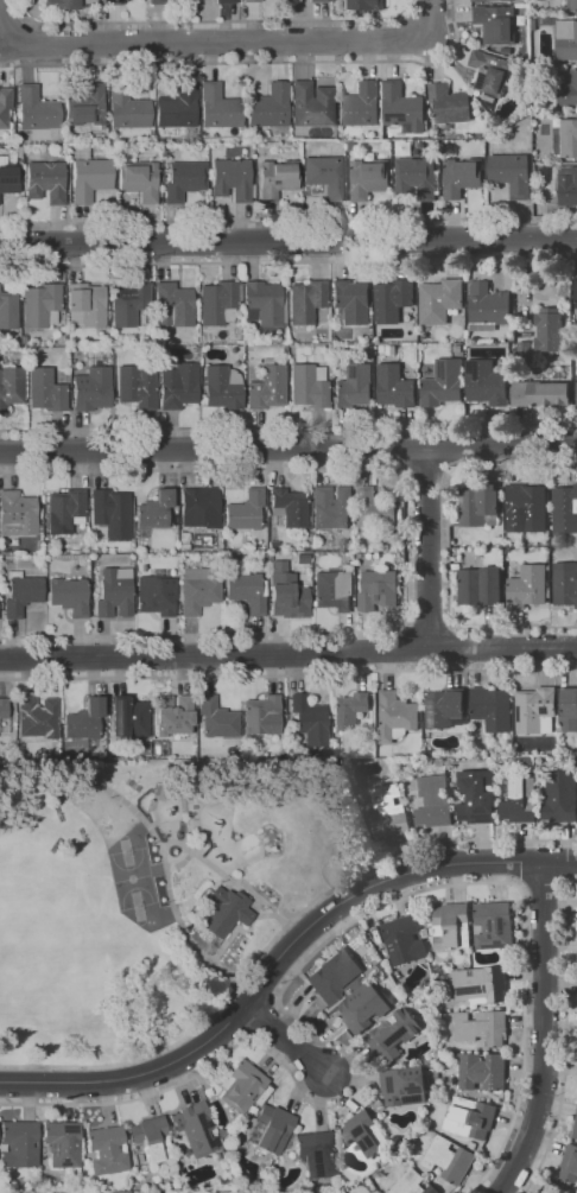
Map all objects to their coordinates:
building: (100, 0)
building: (481, 0)
building: (226, 1)
building: (253, 1)
building: (319, 1)
building: (114, 2)
building: (159, 2)
building: (63, 5)
building: (367, 5)
building: (573, 5)
building: (497, 23)
building: (534, 24)
road: (216, 25)
building: (563, 36)
road: (224, 39)
building: (503, 50)
road: (249, 58)
building: (493, 75)
building: (569, 93)
building: (450, 103)
building: (312, 104)
building: (361, 104)
building: (5, 106)
building: (87, 107)
building: (178, 107)
building: (220, 107)
building: (270, 107)
building: (404, 107)
building: (128, 108)
building: (37, 109)
building: (569, 138)
building: (350, 144)
building: (435, 145)
building: (78, 151)
building: (18, 152)
building: (27, 152)
building: (325, 173)
building: (512, 173)
building: (8, 176)
building: (462, 176)
building: (417, 177)
building: (277, 178)
building: (370, 178)
building: (90, 179)
building: (140, 179)
building: (232, 179)
building: (184, 180)
building: (46, 182)
building: (569, 186)
road: (288, 220)
road: (288, 241)
road: (288, 259)
building: (576, 287)
building: (393, 299)
building: (440, 299)
building: (131, 300)
building: (306, 300)
building: (351, 302)
building: (220, 303)
building: (264, 303)
building: (87, 304)
building: (43, 305)
building: (175, 305)
building: (488, 306)
building: (8, 310)
building: (62, 323)
building: (550, 330)
building: (285, 337)
building: (509, 337)
building: (201, 340)
building: (275, 340)
building: (569, 340)
building: (196, 341)
building: (160, 348)
building: (458, 348)
building: (198, 349)
building: (303, 350)
building: (392, 350)
building: (370, 351)
building: (525, 351)
building: (556, 358)
building: (487, 382)
building: (444, 383)
building: (12, 386)
building: (179, 386)
building: (309, 386)
building: (355, 386)
building: (395, 386)
building: (137, 387)
building: (223, 387)
building: (268, 387)
building: (576, 388)
building: (93, 389)
building: (46, 391)
building: (541, 393)
road: (288, 426)
road: (288, 448)
road: (427, 470)
building: (528, 503)
building: (480, 505)
building: (201, 508)
building: (290, 508)
building: (332, 508)
building: (565, 509)
building: (66, 510)
building: (246, 510)
building: (110, 512)
building: (375, 512)
building: (156, 513)
building: (18, 514)
building: (40, 527)
building: (271, 533)
building: (247, 535)
building: (559, 538)
building: (497, 540)
building: (185, 542)
building: (259, 545)
building: (274, 545)
road: (449, 545)
building: (49, 547)
building: (387, 547)
road: (407, 547)
road: (429, 547)
building: (350, 553)
building: (227, 554)
building: (315, 556)
building: (144, 559)
building: (157, 559)
building: (144, 572)
building: (271, 578)
building: (565, 583)
building: (481, 585)
building: (528, 586)
building: (378, 588)
building: (247, 589)
building: (335, 589)
building: (198, 590)
building: (21, 594)
building: (114, 595)
building: (70, 596)
building: (156, 596)
building: (288, 596)
road: (430, 623)
road: (288, 655)
road: (288, 675)
building: (570, 703)
building: (493, 707)
building: (445, 709)
building: (537, 710)
building: (350, 711)
building: (309, 715)
building: (262, 716)
building: (397, 716)
building: (4, 717)
building: (129, 717)
building: (175, 717)
building: (37, 718)
building: (217, 719)
building: (85, 722)
building: (291, 745)
building: (429, 753)
building: (439, 761)
building: (477, 795)
building: (560, 797)
building: (520, 800)
building: (432, 802)
building: (388, 812)
road: (165, 842)
park: (138, 878)
road: (544, 886)
road: (242, 889)
park: (156, 890)
building: (228, 912)
building: (494, 925)
building: (451, 926)
road: (240, 928)
road: (277, 937)
building: (405, 940)
road: (279, 958)
road: (298, 971)
building: (334, 975)
building: (481, 984)
building: (363, 1008)
building: (482, 1027)
road: (545, 1032)
building: (394, 1034)
road: (566, 1037)
road: (285, 1040)
building: (483, 1071)
building: (405, 1084)
building: (242, 1086)
building: (380, 1102)
building: (252, 1110)
building: (471, 1118)
building: (273, 1128)
building: (198, 1129)
building: (576, 1131)
building: (364, 1134)
building: (153, 1138)
building: (20, 1144)
building: (63, 1144)
building: (473, 1144)
building: (108, 1150)
building: (317, 1154)
building: (449, 1159)
building: (570, 1163)
building: (347, 1176)
building: (414, 1184)
building: (216, 1188)
building: (87, 1191)
building: (378, 1192)

